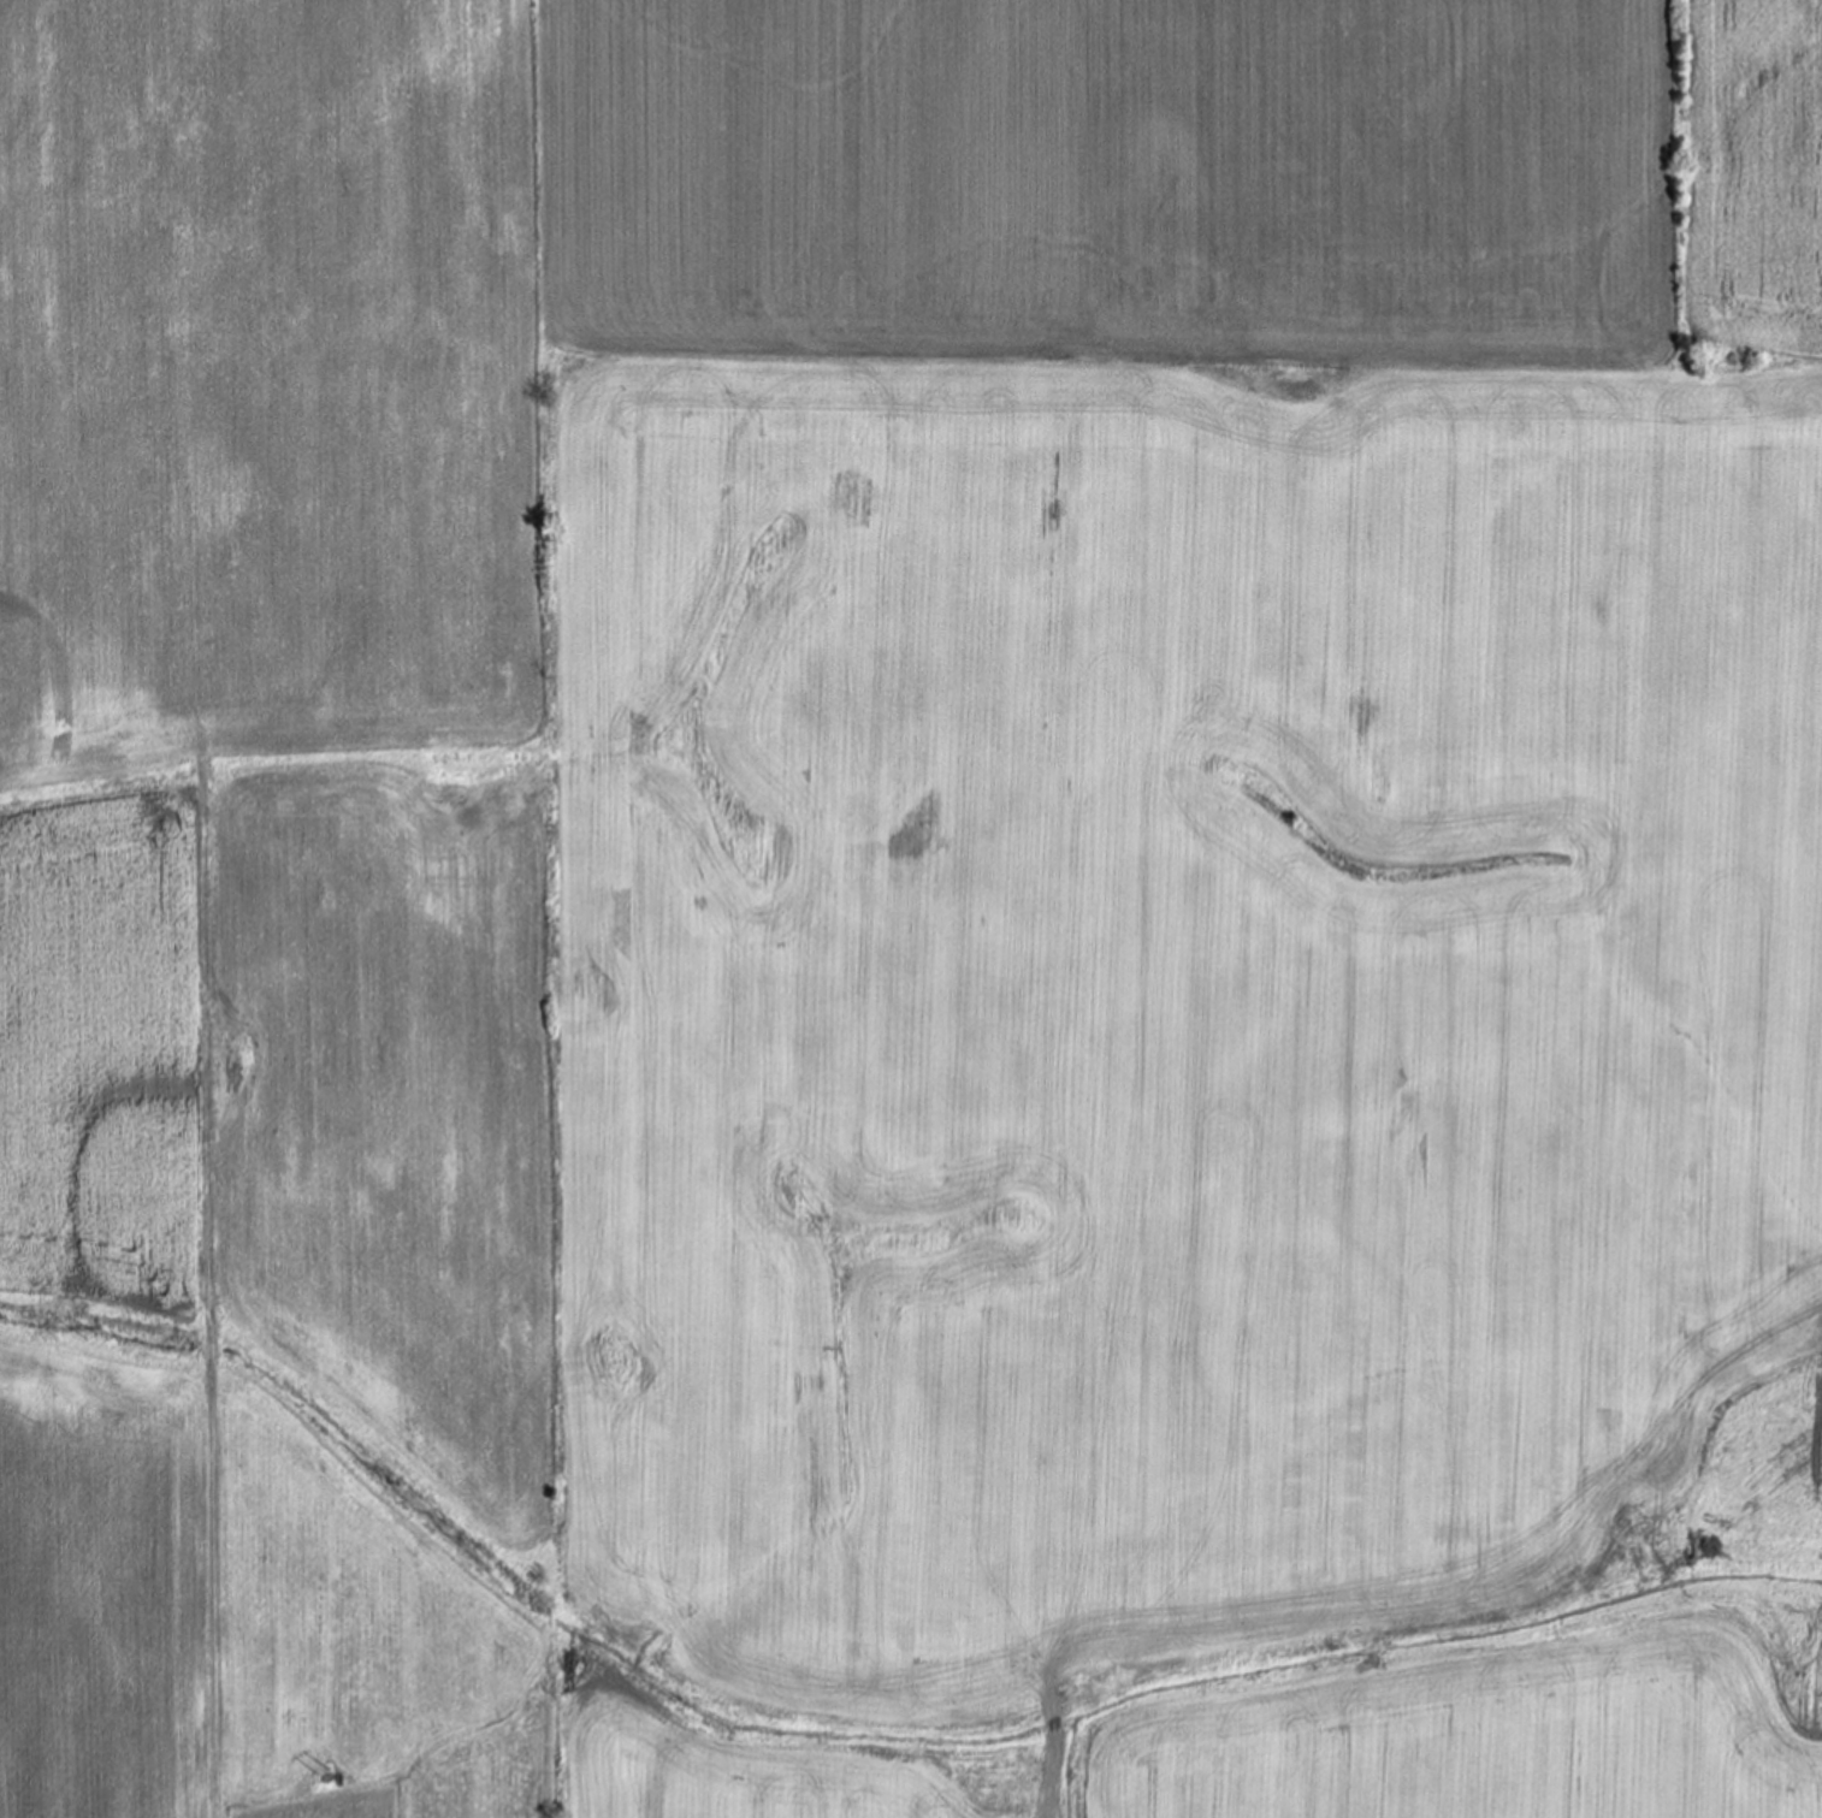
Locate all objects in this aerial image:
power tower: (91, 1336)
power tower: (324, 1773)

